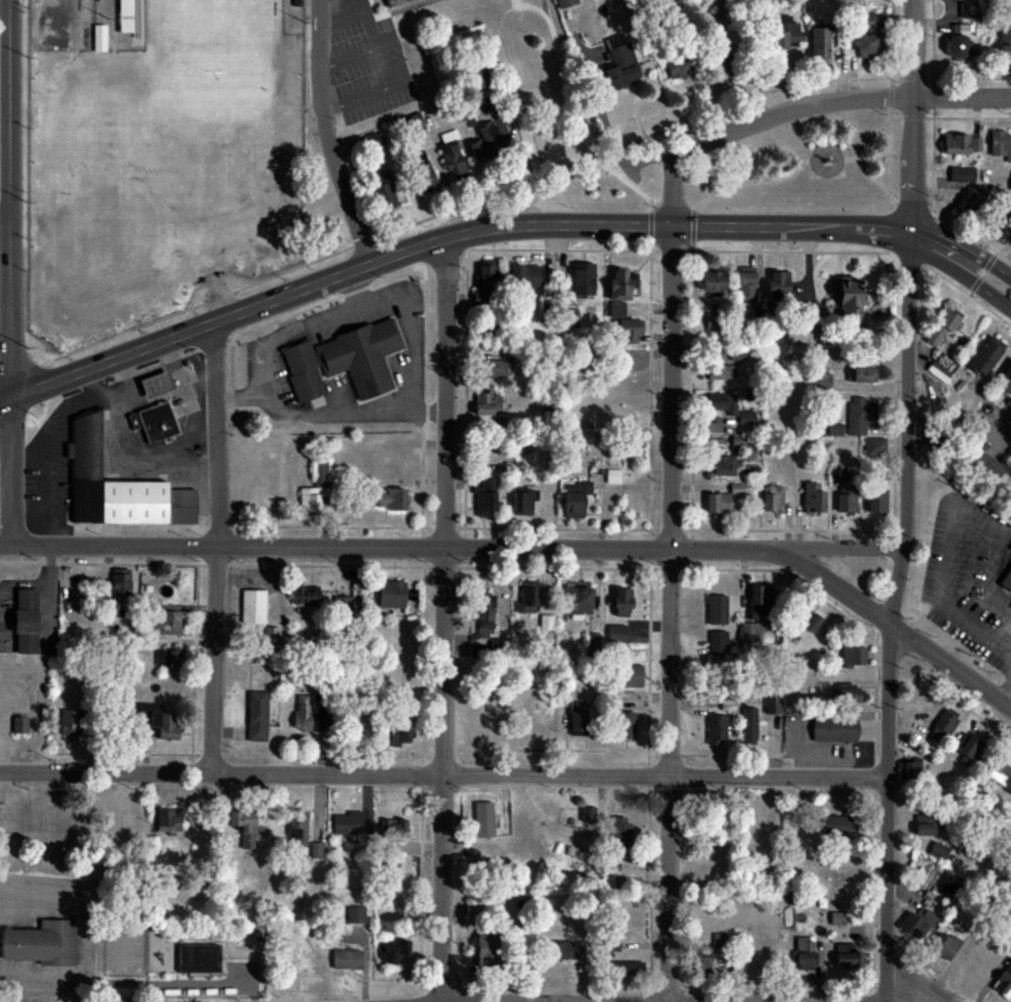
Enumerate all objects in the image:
building: (391, 2)
building: (564, 3)
building: (968, 9)
building: (786, 36)
building: (98, 38)
building: (869, 38)
park: (209, 39)
building: (958, 41)
building: (1004, 45)
building: (818, 47)
road: (898, 60)
building: (618, 63)
building: (676, 68)
building: (471, 79)
road: (578, 102)
road: (526, 111)
road: (791, 116)
road: (918, 119)
road: (971, 119)
road: (896, 120)
building: (414, 122)
road: (327, 134)
road: (870, 135)
building: (489, 138)
building: (375, 144)
building: (954, 144)
building: (975, 144)
building: (1000, 145)
road: (827, 148)
building: (450, 154)
road: (898, 165)
building: (420, 169)
park: (807, 169)
road: (930, 171)
park: (172, 175)
building: (960, 175)
road: (868, 181)
road: (748, 183)
road: (446, 184)
building: (1010, 186)
building: (382, 192)
road: (10, 196)
road: (913, 216)
road: (5, 222)
road: (665, 226)
road: (689, 228)
building: (327, 231)
road: (970, 243)
road: (794, 253)
road: (985, 262)
road: (310, 269)
road: (5, 270)
road: (908, 275)
road: (977, 275)
building: (524, 278)
building: (711, 278)
building: (581, 279)
building: (484, 281)
building: (746, 282)
building: (777, 282)
building: (620, 284)
road: (982, 284)
building: (848, 299)
road: (5, 306)
building: (616, 308)
building: (568, 318)
building: (709, 322)
building: (942, 327)
road: (186, 329)
building: (628, 329)
road: (168, 351)
building: (359, 356)
building: (985, 356)
road: (6, 357)
road: (122, 368)
building: (494, 368)
road: (157, 369)
building: (862, 369)
building: (301, 370)
building: (717, 372)
building: (937, 372)
building: (1005, 380)
building: (820, 381)
building: (161, 382)
road: (238, 397)
building: (485, 403)
building: (720, 403)
road: (431, 410)
road: (320, 415)
building: (857, 416)
building: (744, 417)
building: (159, 419)
road: (1001, 419)
road: (51, 426)
building: (833, 429)
building: (873, 447)
road: (125, 448)
building: (724, 465)
building: (986, 465)
road: (11, 469)
building: (318, 474)
building: (612, 476)
building: (485, 485)
building: (115, 486)
building: (578, 487)
building: (735, 489)
road: (39, 495)
building: (309, 498)
building: (812, 498)
building: (390, 499)
building: (771, 499)
building: (522, 501)
building: (717, 502)
building: (876, 502)
building: (483, 503)
building: (845, 503)
building: (571, 505)
road: (953, 532)
road: (5, 545)
road: (217, 547)
road: (456, 547)
road: (674, 580)
building: (1006, 581)
building: (118, 582)
building: (390, 594)
building: (303, 596)
building: (527, 598)
building: (578, 598)
building: (760, 600)
building: (620, 602)
building: (343, 604)
building: (251, 606)
building: (716, 609)
building: (482, 617)
building: (806, 618)
road: (881, 618)
road: (444, 619)
building: (23, 620)
building: (545, 622)
building: (165, 623)
building: (747, 632)
building: (615, 634)
building: (270, 638)
road: (1007, 641)
building: (717, 642)
road: (1007, 649)
building: (853, 656)
building: (166, 658)
building: (632, 676)
building: (845, 693)
road: (1006, 694)
building: (772, 702)
building: (302, 711)
building: (255, 716)
building: (576, 717)
building: (155, 721)
building: (68, 722)
building: (18, 725)
building: (624, 725)
building: (748, 726)
building: (942, 726)
building: (715, 729)
building: (833, 729)
building: (398, 735)
building: (967, 750)
building: (910, 768)
building: (1001, 772)
road: (887, 775)
road: (443, 778)
building: (586, 814)
building: (482, 819)
building: (167, 820)
building: (346, 823)
building: (836, 825)
building: (923, 825)
building: (243, 826)
building: (296, 828)
building: (391, 828)
building: (619, 831)
building: (152, 844)
building: (315, 850)
building: (937, 851)
building: (354, 915)
building: (836, 919)
building: (918, 923)
building: (610, 941)
building: (40, 943)
building: (943, 946)
building: (483, 950)
building: (563, 950)
building: (391, 952)
building: (803, 954)
building: (706, 956)
building: (846, 958)
building: (197, 959)
building: (345, 959)
building: (623, 968)
building: (1003, 981)
road: (912, 984)

